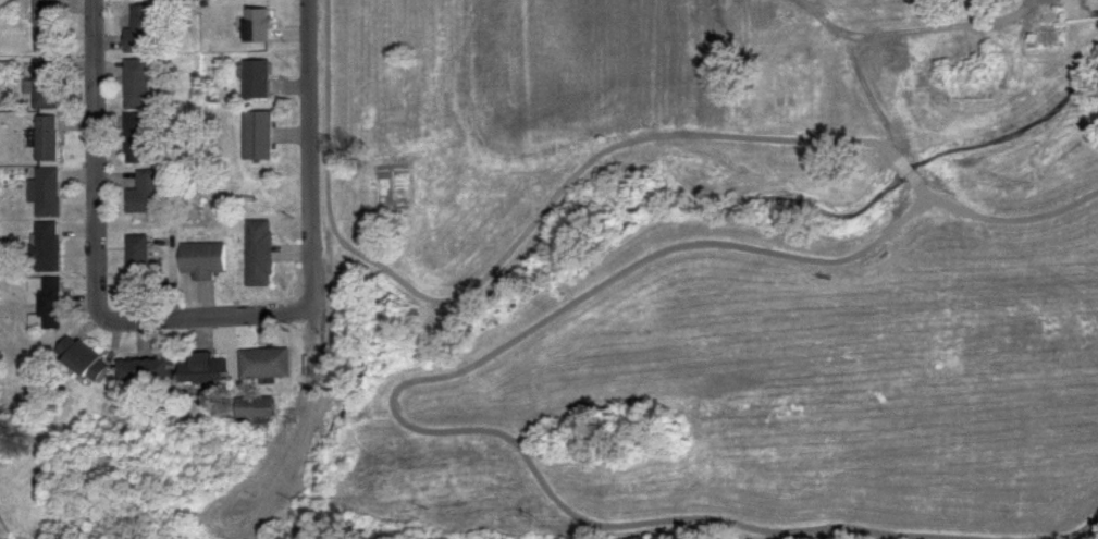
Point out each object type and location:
building: (1078, 10)
building: (42, 26)
building: (257, 26)
building: (139, 30)
building: (1047, 37)
building: (960, 47)
building: (256, 81)
building: (136, 84)
building: (44, 85)
building: (257, 136)
building: (137, 138)
building: (44, 139)
road: (312, 151)
road: (900, 156)
building: (45, 193)
building: (143, 195)
road: (1001, 215)
building: (47, 247)
road: (497, 252)
building: (258, 254)
building: (136, 260)
building: (201, 260)
road: (95, 265)
building: (48, 305)
building: (81, 360)
building: (264, 364)
building: (200, 368)
building: (143, 372)
building: (254, 407)
road: (388, 409)
road: (1070, 531)

